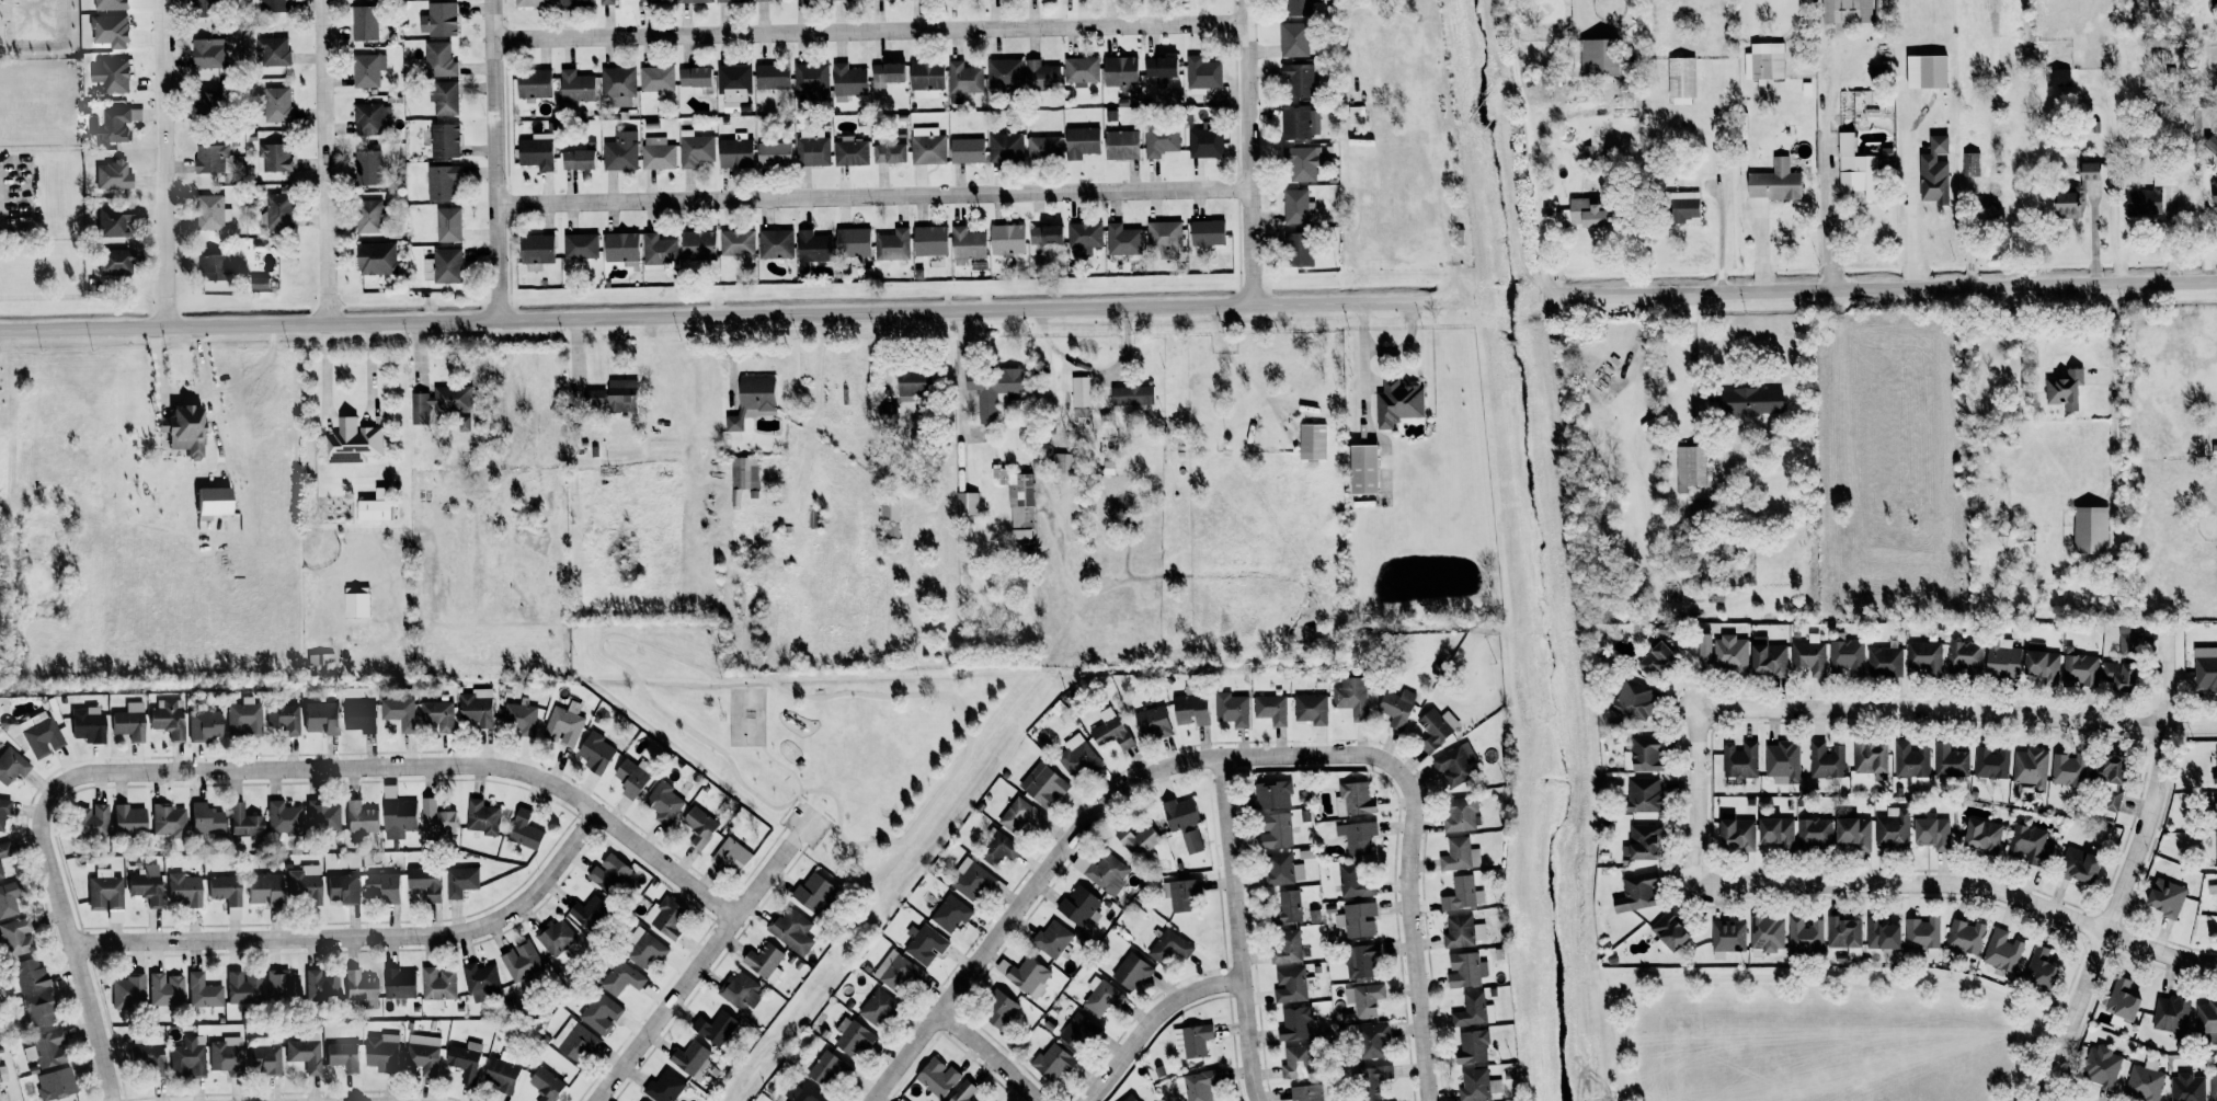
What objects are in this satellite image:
building: (645, 0)
building: (729, 0)
building: (761, 0)
building: (692, 1)
building: (530, 2)
building: (606, 2)
building: (574, 3)
building: (272, 4)
building: (202, 7)
building: (1844, 12)
building: (441, 18)
building: (363, 22)
road: (871, 27)
building: (1294, 30)
building: (272, 50)
building: (206, 54)
building: (1596, 57)
building: (437, 59)
building: (1763, 60)
building: (1158, 68)
building: (366, 69)
building: (1082, 70)
building: (1924, 70)
building: (1119, 71)
building: (885, 72)
building: (1003, 73)
building: (111, 74)
building: (1201, 74)
building: (770, 76)
building: (1040, 76)
building: (695, 77)
building: (810, 77)
building: (1680, 77)
building: (2056, 77)
building: (656, 78)
building: (963, 78)
building: (925, 79)
building: (1298, 79)
building: (733, 82)
building: (846, 82)
building: (533, 83)
building: (575, 85)
building: (618, 85)
building: (205, 98)
building: (444, 98)
building: (275, 104)
building: (1357, 114)
building: (367, 118)
building: (117, 122)
building: (1295, 122)
building: (443, 139)
building: (1159, 139)
building: (1081, 141)
building: (1120, 145)
building: (2212, 146)
building: (811, 147)
building: (1005, 147)
building: (1043, 147)
building: (695, 148)
building: (927, 148)
building: (965, 149)
building: (849, 150)
building: (620, 151)
building: (734, 151)
building: (890, 151)
building: (534, 152)
building: (658, 152)
building: (772, 152)
road: (1247, 152)
building: (208, 157)
building: (272, 157)
building: (576, 158)
road: (324, 161)
road: (163, 162)
building: (1300, 163)
building: (1970, 163)
building: (367, 167)
building: (1856, 169)
road: (500, 170)
building: (1933, 171)
road: (2110, 172)
building: (111, 174)
road: (1533, 174)
building: (2163, 176)
building: (442, 182)
building: (1774, 182)
building: (2077, 191)
road: (875, 194)
building: (2214, 194)
building: (2142, 202)
building: (1681, 206)
road: (1909, 206)
building: (1298, 207)
building: (276, 210)
building: (212, 211)
building: (1587, 213)
building: (367, 216)
building: (112, 220)
building: (447, 223)
building: (1205, 232)
building: (1049, 233)
building: (1163, 234)
road: (2207, 234)
road: (2092, 236)
building: (1084, 237)
road: (1830, 238)
building: (1006, 239)
building: (1122, 239)
building: (928, 240)
building: (850, 241)
building: (735, 242)
building: (775, 243)
building: (967, 243)
building: (580, 245)
building: (697, 245)
building: (619, 246)
building: (536, 248)
building: (810, 248)
building: (1298, 249)
building: (658, 251)
building: (374, 257)
building: (110, 263)
building: (446, 265)
building: (215, 266)
building: (426, 268)
building: (258, 283)
road: (1878, 287)
road: (718, 314)
road: (1402, 345)
road: (1691, 347)
road: (1362, 369)
building: (911, 382)
building: (991, 388)
building: (2064, 389)
road: (2113, 392)
building: (619, 394)
building: (1131, 395)
building: (593, 397)
building: (1079, 397)
building: (750, 399)
building: (1749, 401)
building: (438, 402)
building: (1397, 402)
building: (887, 410)
road: (348, 421)
building: (462, 424)
building: (182, 428)
building: (1312, 440)
building: (352, 441)
building: (1062, 466)
building: (1690, 468)
building: (1361, 469)
building: (744, 472)
building: (735, 497)
building: (1017, 501)
building: (208, 502)
building: (967, 503)
building: (374, 505)
building: (889, 511)
building: (2090, 529)
building: (890, 531)
building: (354, 601)
building: (2128, 640)
building: (1703, 649)
building: (1728, 653)
building: (1809, 655)
building: (1924, 656)
building: (1964, 656)
building: (1767, 657)
building: (1847, 657)
building: (2001, 657)
building: (319, 658)
building: (1654, 660)
building: (1885, 660)
building: (2041, 663)
building: (2205, 668)
building: (2079, 669)
building: (2118, 675)
road: (790, 692)
building: (1350, 693)
building: (1629, 699)
building: (476, 707)
building: (1396, 707)
building: (1190, 708)
building: (1232, 709)
building: (1271, 709)
building: (1311, 709)
road: (1958, 711)
building: (399, 712)
building: (437, 714)
building: (357, 716)
park: (746, 716)
building: (167, 718)
building: (242, 718)
building: (283, 718)
building: (318, 718)
building: (519, 718)
building: (128, 721)
building: (1153, 722)
building: (85, 723)
building: (202, 724)
building: (564, 724)
building: (1437, 729)
building: (1109, 730)
building: (39, 736)
park: (822, 741)
building: (594, 753)
building: (1645, 754)
building: (1077, 757)
road: (1223, 757)
building: (1871, 759)
building: (1741, 760)
building: (1827, 760)
building: (1910, 760)
building: (1950, 760)
building: (1783, 761)
building: (1991, 762)
building: (11, 765)
building: (1455, 765)
building: (2215, 766)
building: (2031, 768)
road: (252, 769)
road: (795, 769)
building: (2068, 769)
building: (2109, 769)
road: (789, 770)
building: (630, 778)
building: (1044, 788)
building: (1642, 794)
building: (1272, 795)
building: (1356, 798)
road: (1694, 799)
building: (663, 801)
building: (2111, 801)
building: (1339, 806)
building: (3, 810)
building: (2215, 812)
building: (395, 814)
building: (1461, 814)
building: (321, 815)
building: (282, 817)
building: (435, 817)
building: (481, 817)
building: (1020, 817)
building: (358, 818)
building: (126, 819)
building: (203, 819)
building: (89, 821)
building: (241, 821)
building: (1179, 822)
parking lot: (805, 823)
road: (805, 823)
building: (698, 827)
building: (1893, 828)
building: (524, 830)
building: (1275, 830)
building: (1775, 832)
building: (1814, 832)
building: (1931, 832)
building: (1735, 833)
building: (1854, 833)
building: (1981, 835)
building: (1356, 836)
building: (1136, 840)
building: (1643, 841)
building: (2030, 845)
building: (997, 849)
building: (4, 850)
building: (2215, 851)
building: (1460, 855)
building: (731, 856)
building: (2078, 865)
road: (2128, 868)
building: (1278, 869)
building: (1298, 871)
building: (608, 873)
building: (1107, 873)
building: (0, 874)
road: (764, 875)
building: (971, 880)
building: (423, 881)
building: (459, 881)
building: (1355, 882)
building: (304, 884)
building: (384, 885)
road: (1966, 886)
building: (144, 887)
building: (262, 887)
building: (343, 887)
building: (999, 887)
building: (222, 888)
building: (2212, 888)
building: (181, 890)
building: (1636, 892)
building: (813, 893)
building: (1180, 893)
building: (105, 894)
building: (1463, 894)
building: (2165, 898)
building: (8, 899)
building: (1078, 906)
building: (1287, 908)
building: (587, 911)
building: (951, 913)
building: (665, 917)
building: (1357, 919)
road: (1234, 929)
building: (791, 930)
building: (1462, 931)
building: (1921, 932)
building: (1668, 933)
building: (1767, 933)
building: (1843, 933)
building: (1881, 933)
road: (358, 936)
building: (1728, 936)
building: (556, 937)
building: (1805, 937)
building: (1965, 937)
building: (12, 938)
building: (1051, 939)
building: (925, 943)
building: (1285, 945)
building: (1169, 947)
building: (644, 948)
building: (2001, 953)
building: (521, 961)
building: (1360, 961)
building: (764, 962)
building: (2039, 968)
building: (1465, 970)
building: (1131, 971)
building: (896, 972)
building: (24, 974)
building: (1029, 976)
building: (621, 978)
road: (2071, 978)
building: (480, 982)
road: (1817, 982)
building: (437, 983)
building: (398, 984)
building: (1287, 985)
building: (281, 986)
building: (320, 986)
building: (242, 987)
building: (359, 987)
building: (164, 989)
building: (740, 990)
building: (127, 991)
building: (202, 991)
building: (1101, 996)
building: (1364, 999)
building: (2122, 1002)
building: (877, 1007)
building: (1005, 1008)
building: (37, 1009)
road: (664, 1009)
building: (1473, 1010)
building: (599, 1012)
building: (2171, 1013)
road: (1149, 1021)
building: (2206, 1022)
building: (1294, 1023)
building: (715, 1028)
park: (1817, 1034)
building: (852, 1037)
building: (573, 1040)
building: (1192, 1040)
building: (1372, 1041)
building: (1472, 1047)
building: (305, 1052)
building: (381, 1052)
road: (988, 1053)
building: (423, 1054)
building: (225, 1055)
building: (342, 1055)
building: (263, 1056)
building: (147, 1058)
building: (186, 1058)
building: (692, 1058)
building: (465, 1060)
building: (1294, 1062)
building: (48, 1063)
building: (1051, 1063)
building: (2101, 1066)
building: (826, 1068)
building: (500, 1075)
building: (937, 1077)
building: (1372, 1080)
building: (2145, 1081)
building: (545, 1083)
building: (1197, 1086)
building: (1474, 1086)
building: (663, 1087)
building: (2213, 1087)
building: (2187, 1088)
building: (962, 1091)
building: (1305, 1092)
building: (802, 1093)
road: (2019, 1097)
building: (1130, 1098)
building: (640, 1100)

